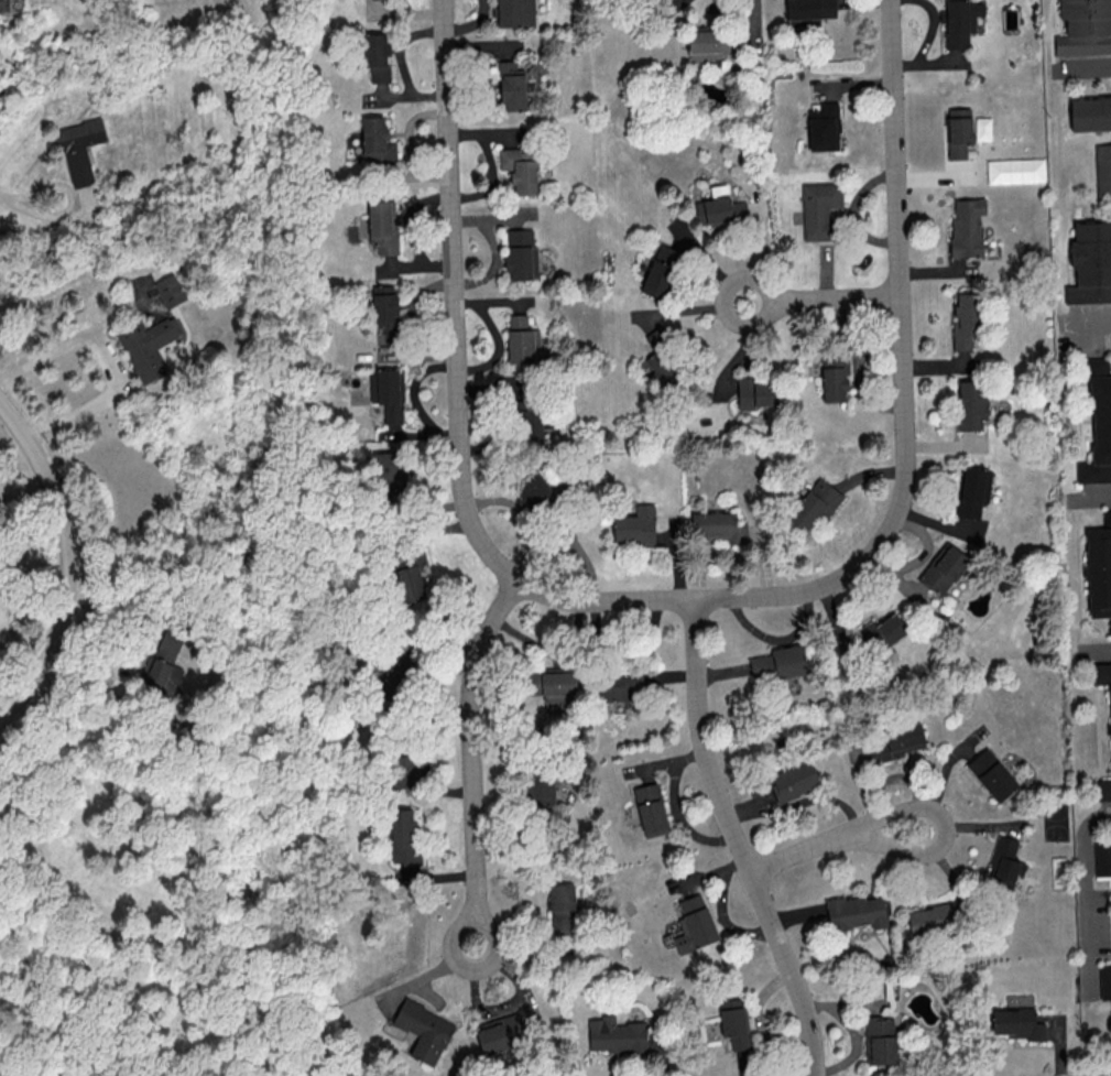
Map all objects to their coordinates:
building: (647, 1)
building: (3, 4)
building: (808, 11)
building: (514, 12)
building: (959, 21)
building: (1085, 28)
road: (928, 42)
building: (709, 44)
building: (377, 55)
road: (1094, 66)
building: (511, 86)
building: (1090, 113)
building: (824, 127)
building: (958, 131)
building: (377, 142)
building: (78, 148)
building: (520, 169)
building: (1102, 171)
road: (6, 199)
road: (74, 204)
building: (719, 206)
building: (819, 208)
building: (382, 226)
building: (967, 226)
building: (521, 253)
building: (1090, 263)
building: (660, 270)
building: (170, 290)
road: (772, 298)
road: (837, 298)
building: (384, 303)
building: (965, 319)
building: (522, 340)
building: (148, 345)
road: (111, 361)
road: (903, 374)
building: (834, 378)
road: (458, 390)
building: (389, 392)
building: (758, 392)
building: (971, 404)
building: (1098, 422)
building: (530, 423)
building: (389, 468)
building: (533, 490)
building: (973, 490)
road: (1098, 498)
building: (814, 503)
building: (635, 525)
building: (714, 525)
road: (72, 559)
building: (943, 567)
building: (1099, 568)
building: (410, 572)
building: (882, 631)
building: (777, 663)
building: (1101, 674)
building: (162, 678)
building: (618, 684)
building: (897, 742)
road: (471, 746)
building: (409, 769)
building: (991, 773)
building: (793, 780)
building: (538, 787)
building: (1103, 789)
building: (650, 808)
road: (943, 829)
building: (404, 836)
road: (740, 841)
road: (803, 850)
building: (1102, 857)
building: (1004, 863)
road: (1086, 902)
building: (562, 909)
building: (856, 911)
building: (933, 919)
road: (475, 922)
building: (694, 924)
building: (1104, 980)
building: (733, 1022)
building: (1015, 1023)
building: (424, 1031)
building: (500, 1032)
building: (616, 1034)
building: (880, 1040)

